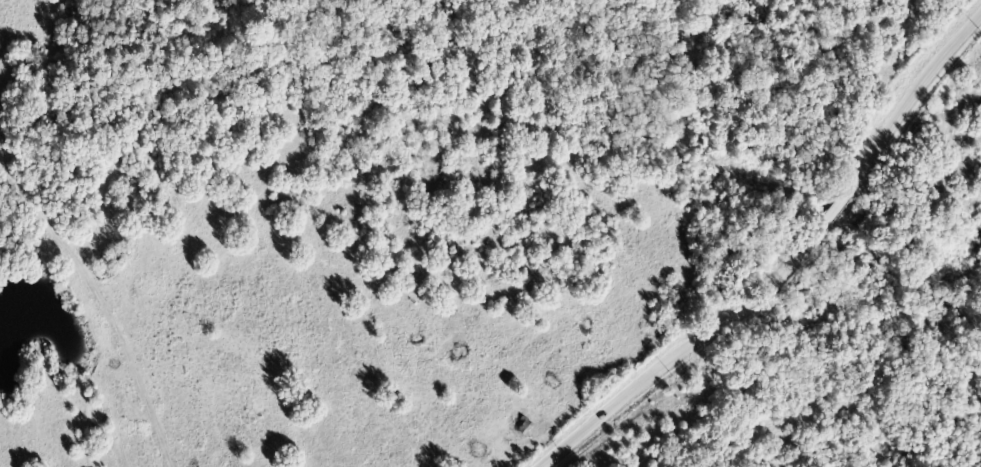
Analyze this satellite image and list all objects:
road: (786, 268)

